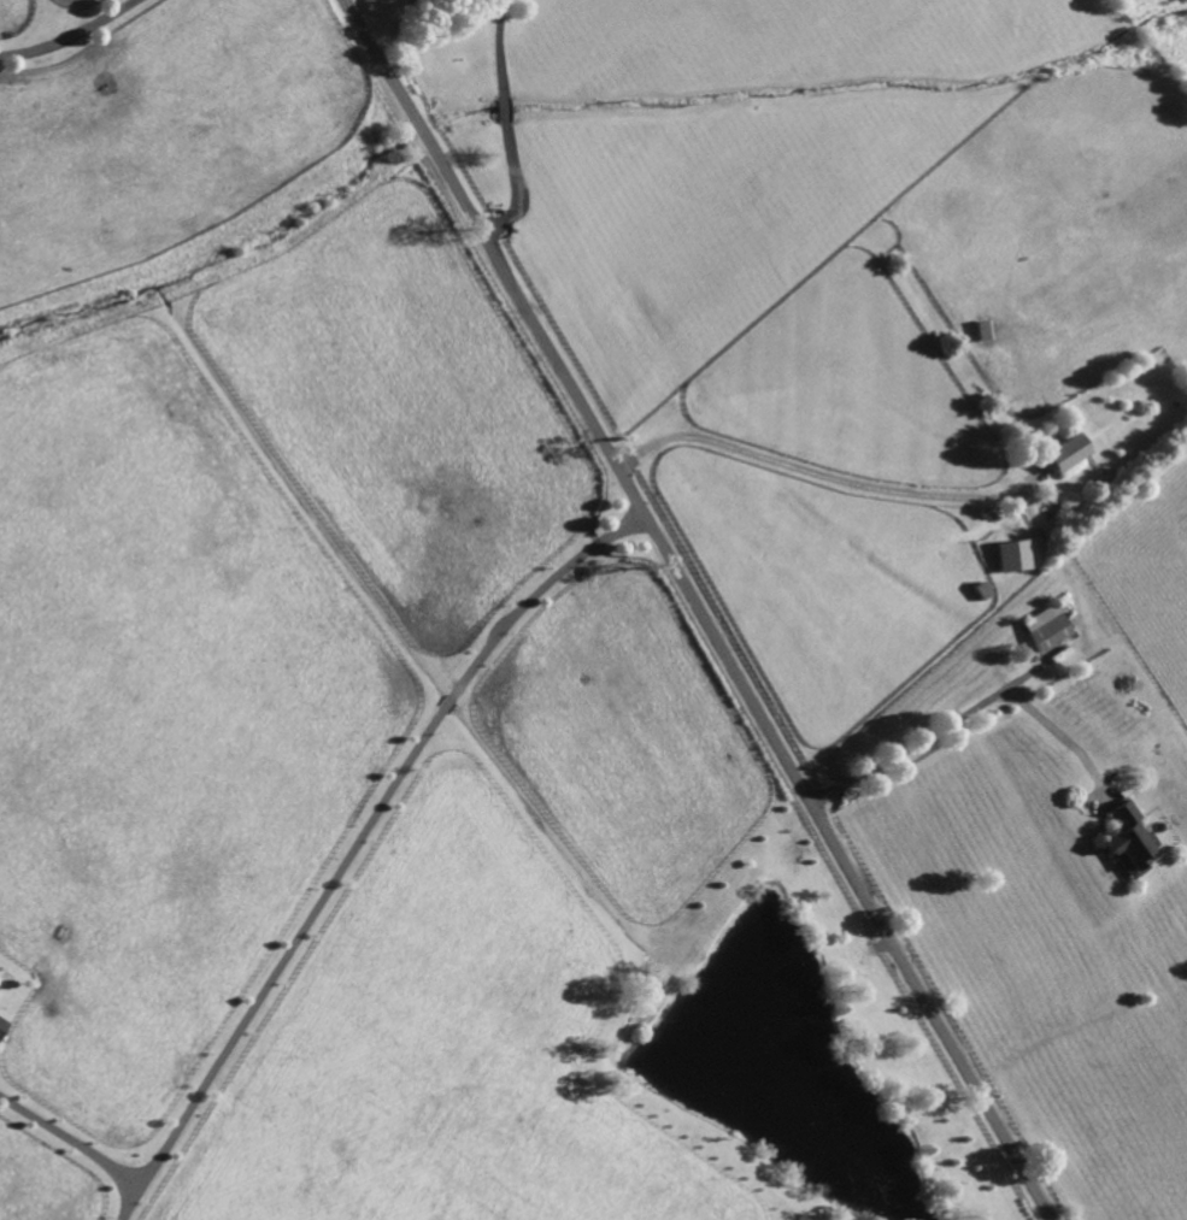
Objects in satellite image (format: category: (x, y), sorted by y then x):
road: (67, 36)
road: (500, 48)
road: (506, 111)
road: (517, 188)
building: (981, 329)
building: (1063, 454)
road: (824, 473)
building: (1011, 550)
building: (980, 587)
road: (700, 611)
building: (1045, 623)
road: (959, 712)
building: (1128, 837)
road: (353, 843)
building: (1, 1022)
road: (70, 1139)

